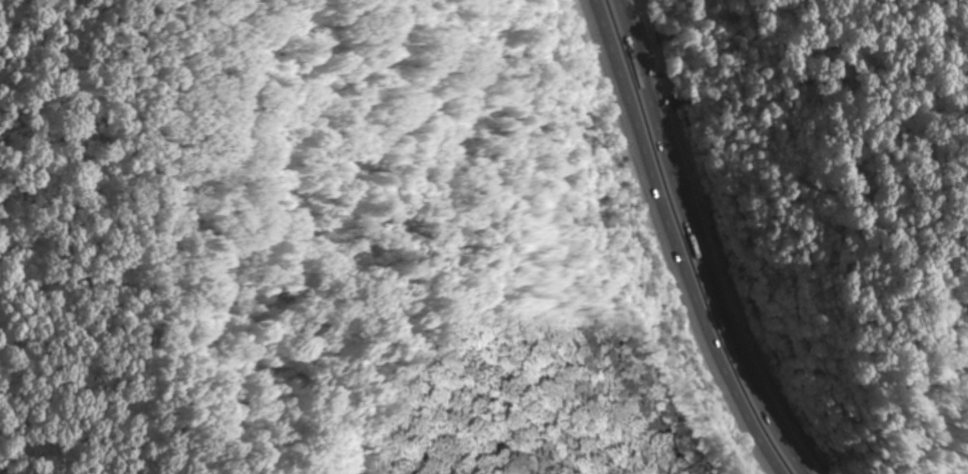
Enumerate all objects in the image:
road: (678, 242)
road: (712, 243)

